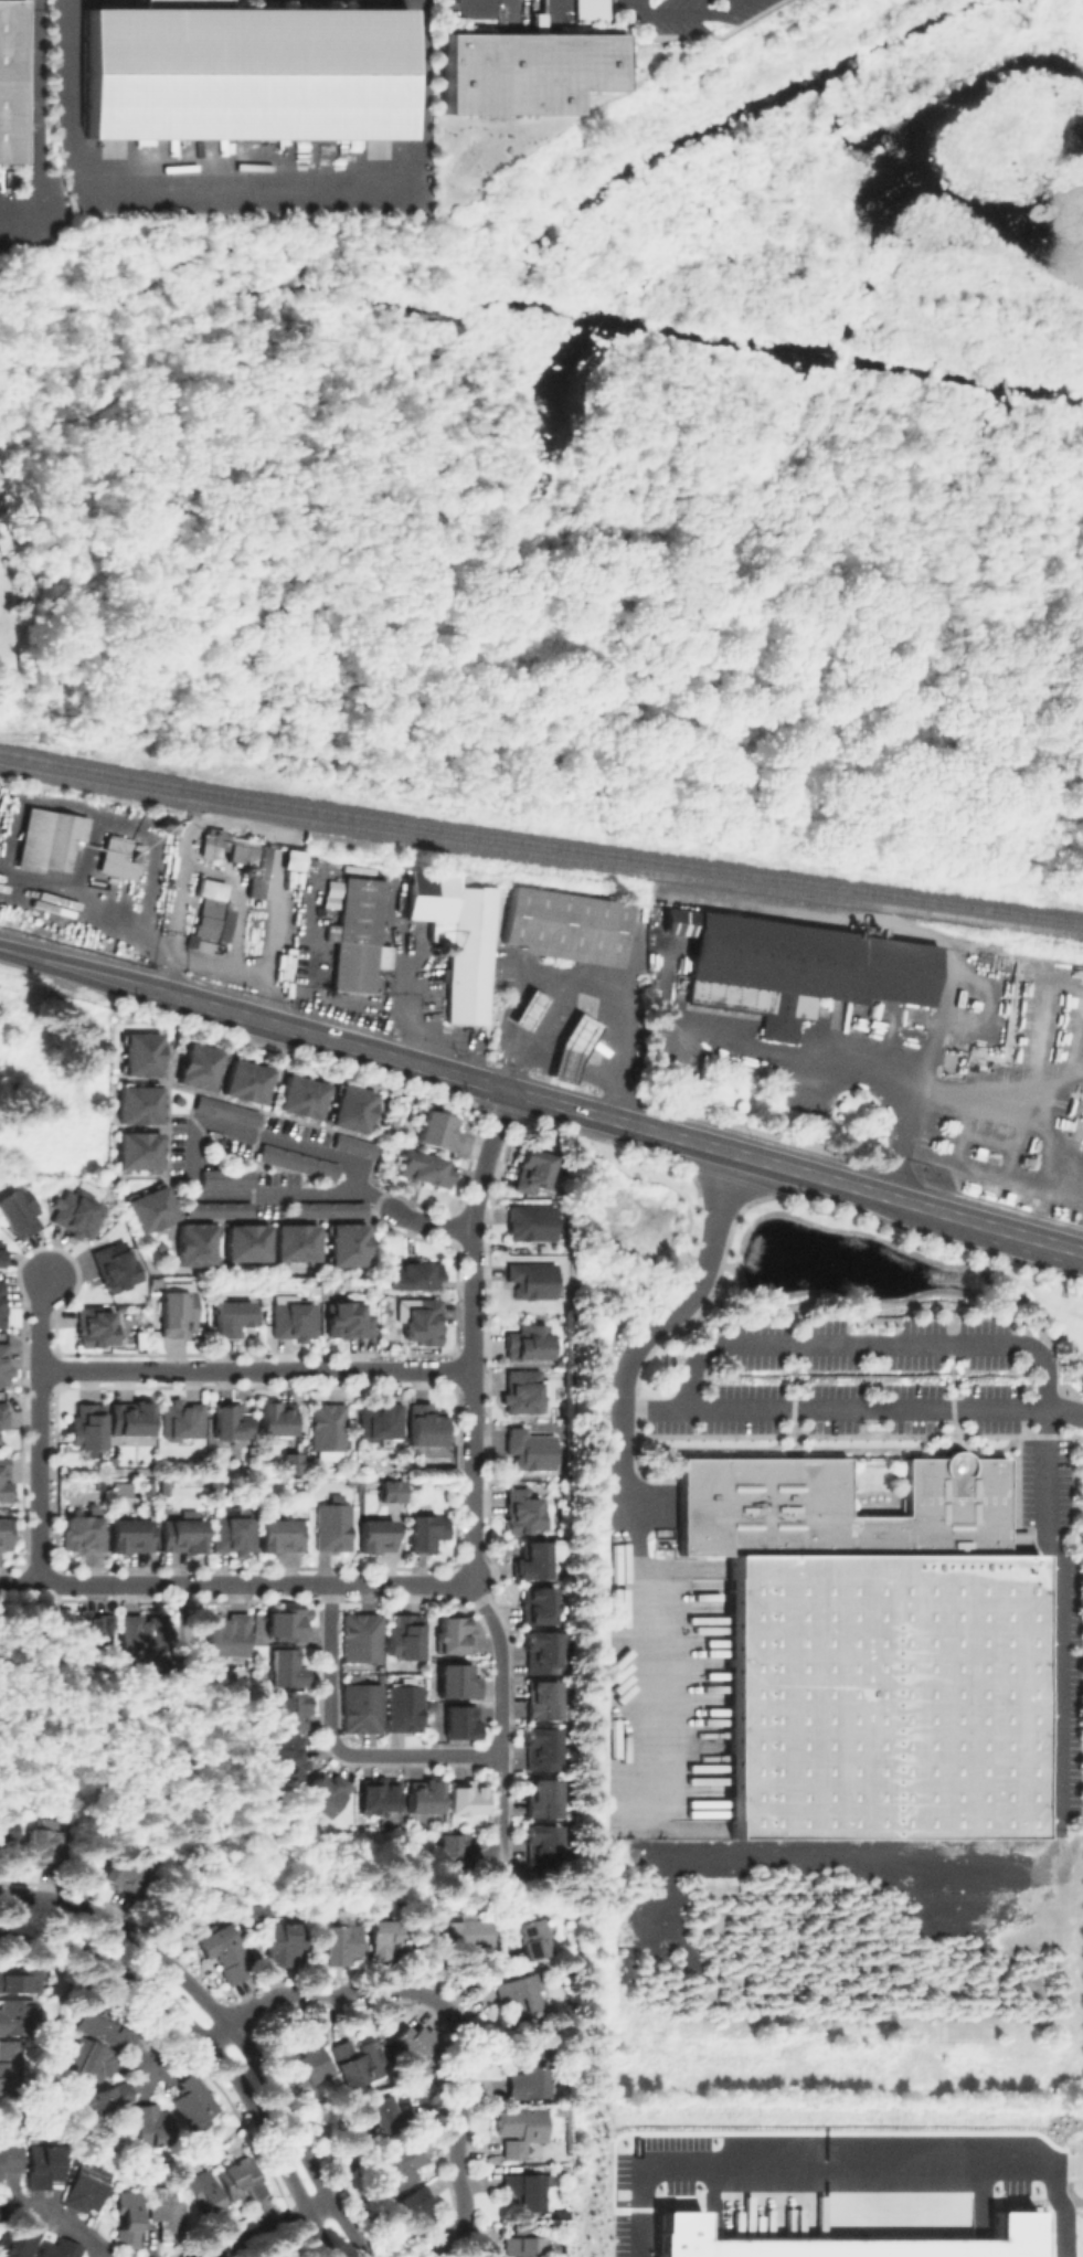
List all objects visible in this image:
road: (35, 3)
road: (640, 7)
building: (588, 11)
road: (692, 11)
building: (528, 67)
building: (247, 75)
building: (11, 82)
road: (33, 137)
road: (244, 191)
railway: (540, 840)
building: (50, 843)
building: (240, 854)
railway: (540, 855)
building: (290, 858)
building: (119, 860)
road: (226, 878)
building: (211, 911)
building: (23, 915)
road: (104, 915)
building: (566, 926)
building: (357, 934)
building: (458, 940)
building: (807, 958)
road: (52, 964)
road: (593, 983)
road: (127, 984)
road: (261, 984)
building: (756, 1005)
building: (530, 1011)
building: (574, 1030)
building: (140, 1050)
road: (397, 1060)
building: (198, 1062)
road: (848, 1069)
road: (170, 1071)
building: (247, 1075)
road: (277, 1085)
building: (300, 1092)
building: (138, 1101)
building: (226, 1108)
building: (354, 1109)
road: (376, 1127)
building: (439, 1132)
building: (139, 1146)
building: (355, 1147)
road: (330, 1155)
building: (298, 1159)
building: (428, 1170)
building: (533, 1173)
road: (820, 1177)
building: (226, 1178)
road: (372, 1196)
building: (151, 1205)
building: (17, 1207)
building: (219, 1207)
building: (73, 1209)
building: (331, 1209)
road: (431, 1222)
building: (532, 1223)
building: (247, 1238)
building: (296, 1239)
road: (1039, 1239)
building: (197, 1241)
building: (349, 1246)
building: (1, 1250)
building: (113, 1264)
building: (415, 1276)
building: (534, 1281)
building: (1, 1299)
building: (176, 1308)
building: (231, 1314)
building: (294, 1317)
building: (352, 1318)
building: (427, 1323)
building: (93, 1324)
road: (473, 1336)
road: (639, 1339)
road: (869, 1342)
building: (529, 1343)
building: (3, 1363)
road: (257, 1369)
building: (523, 1394)
road: (852, 1407)
building: (3, 1411)
building: (129, 1414)
building: (276, 1414)
building: (179, 1418)
building: (231, 1418)
building: (381, 1421)
building: (85, 1422)
building: (427, 1424)
road: (41, 1429)
building: (330, 1431)
building: (532, 1450)
building: (293, 1461)
building: (415, 1465)
building: (3, 1477)
building: (214, 1483)
building: (263, 1483)
building: (148, 1484)
building: (166, 1484)
building: (415, 1484)
building: (98, 1485)
building: (120, 1487)
building: (393, 1491)
building: (524, 1513)
building: (333, 1526)
building: (81, 1529)
building: (4, 1532)
building: (429, 1532)
building: (129, 1533)
building: (179, 1533)
building: (232, 1533)
building: (280, 1533)
building: (379, 1537)
road: (1052, 1550)
building: (534, 1561)
road: (233, 1585)
building: (540, 1606)
building: (287, 1621)
building: (137, 1630)
building: (88, 1631)
building: (225, 1633)
building: (453, 1636)
building: (363, 1639)
building: (407, 1639)
building: (875, 1649)
building: (543, 1654)
building: (287, 1664)
building: (460, 1682)
building: (544, 1699)
building: (290, 1708)
building: (364, 1708)
building: (406, 1708)
building: (463, 1721)
road: (500, 1730)
road: (338, 1746)
building: (544, 1748)
building: (285, 1756)
building: (327, 1797)
building: (426, 1797)
building: (379, 1798)
building: (544, 1799)
building: (468, 1800)
building: (6, 1836)
building: (545, 1844)
building: (41, 1845)
building: (454, 1853)
building: (125, 1871)
road: (85, 1910)
building: (256, 1914)
building: (465, 1933)
building: (390, 1938)
building: (534, 1938)
building: (285, 1942)
building: (342, 1943)
building: (226, 1953)
building: (19, 1982)
building: (519, 1991)
road: (452, 2013)
building: (18, 2016)
building: (110, 2023)
road: (209, 2044)
building: (418, 2045)
road: (167, 2056)
building: (302, 2057)
building: (95, 2058)
building: (362, 2063)
building: (10, 2064)
building: (533, 2073)
building: (192, 2097)
road: (278, 2098)
building: (105, 2099)
building: (385, 2113)
building: (155, 2123)
building: (521, 2129)
building: (10, 2158)
building: (45, 2161)
road: (815, 2165)
building: (399, 2168)
building: (242, 2182)
building: (86, 2186)
building: (528, 2189)
building: (211, 2197)
building: (416, 2208)
building: (1, 2212)
building: (167, 2212)
road: (1062, 2212)
building: (563, 2216)
building: (128, 2218)
road: (68, 2226)
road: (264, 2226)
building: (21, 2239)
building: (853, 2239)
building: (530, 2246)
building: (61, 2248)

